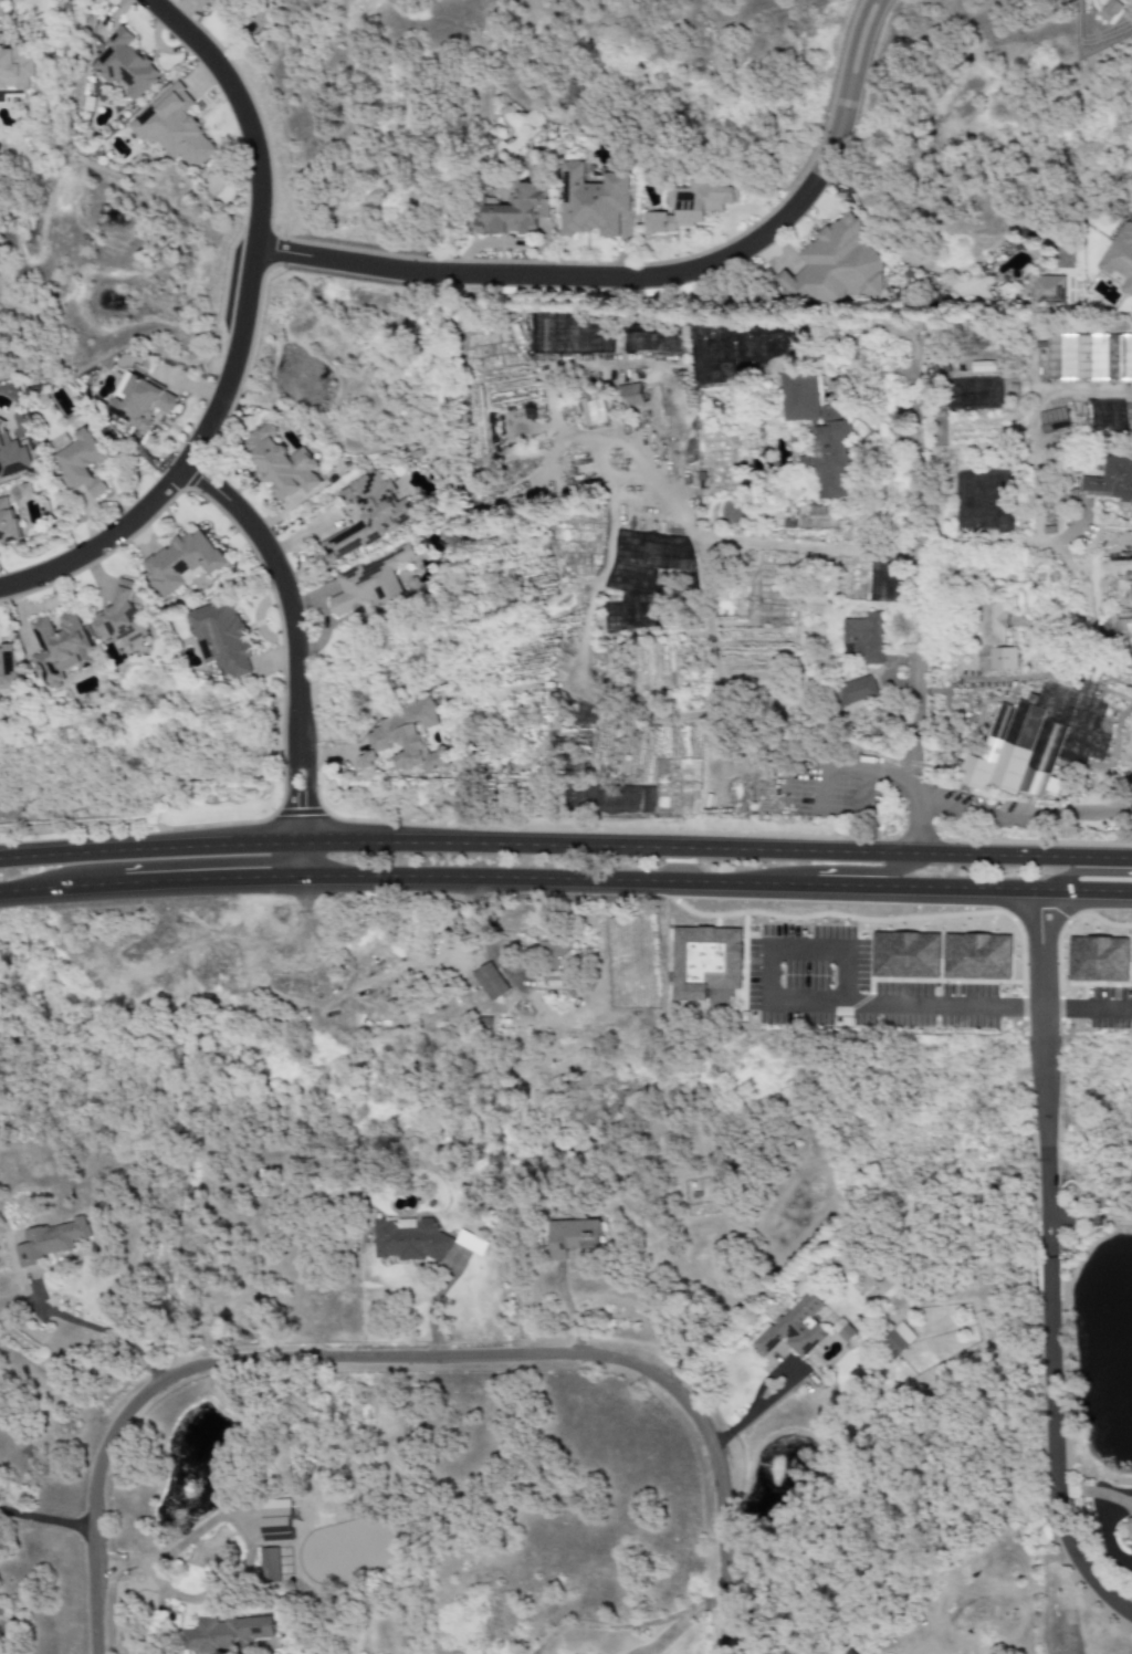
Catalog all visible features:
building: (1110, 10)
building: (125, 64)
building: (13, 70)
building: (174, 127)
building: (593, 202)
building: (690, 206)
building: (515, 211)
building: (1120, 258)
building: (835, 265)
road: (644, 278)
building: (1048, 290)
road: (238, 332)
building: (1089, 357)
building: (983, 366)
building: (630, 395)
building: (139, 402)
building: (593, 411)
building: (1052, 420)
road: (1033, 423)
building: (819, 435)
road: (924, 449)
building: (11, 457)
building: (81, 463)
building: (280, 464)
building: (1111, 480)
road: (608, 507)
building: (368, 514)
building: (7, 522)
road: (1072, 526)
road: (816, 548)
road: (988, 551)
building: (180, 561)
road: (1070, 564)
building: (370, 582)
road: (283, 586)
building: (120, 619)
building: (992, 622)
building: (1117, 627)
building: (219, 637)
building: (862, 639)
building: (59, 647)
building: (996, 659)
building: (7, 668)
building: (856, 691)
road: (921, 706)
building: (406, 737)
building: (1016, 753)
road: (817, 758)
road: (825, 786)
road: (287, 791)
road: (307, 792)
road: (1025, 819)
road: (349, 839)
road: (297, 840)
road: (143, 845)
road: (654, 847)
road: (1026, 857)
road: (292, 863)
road: (303, 863)
road: (864, 872)
road: (1079, 873)
road: (556, 890)
road: (148, 894)
road: (974, 898)
building: (553, 963)
road: (850, 964)
road: (506, 965)
building: (490, 981)
road: (1086, 1013)
road: (1041, 1077)
building: (574, 1237)
building: (409, 1240)
building: (49, 1242)
building: (794, 1328)
building: (842, 1331)
road: (105, 1332)
building: (897, 1340)
road: (407, 1358)
road: (774, 1396)
road: (1051, 1449)
building: (275, 1520)
road: (45, 1521)
building: (1129, 1528)
building: (269, 1566)
building: (228, 1634)
building: (848, 1653)

